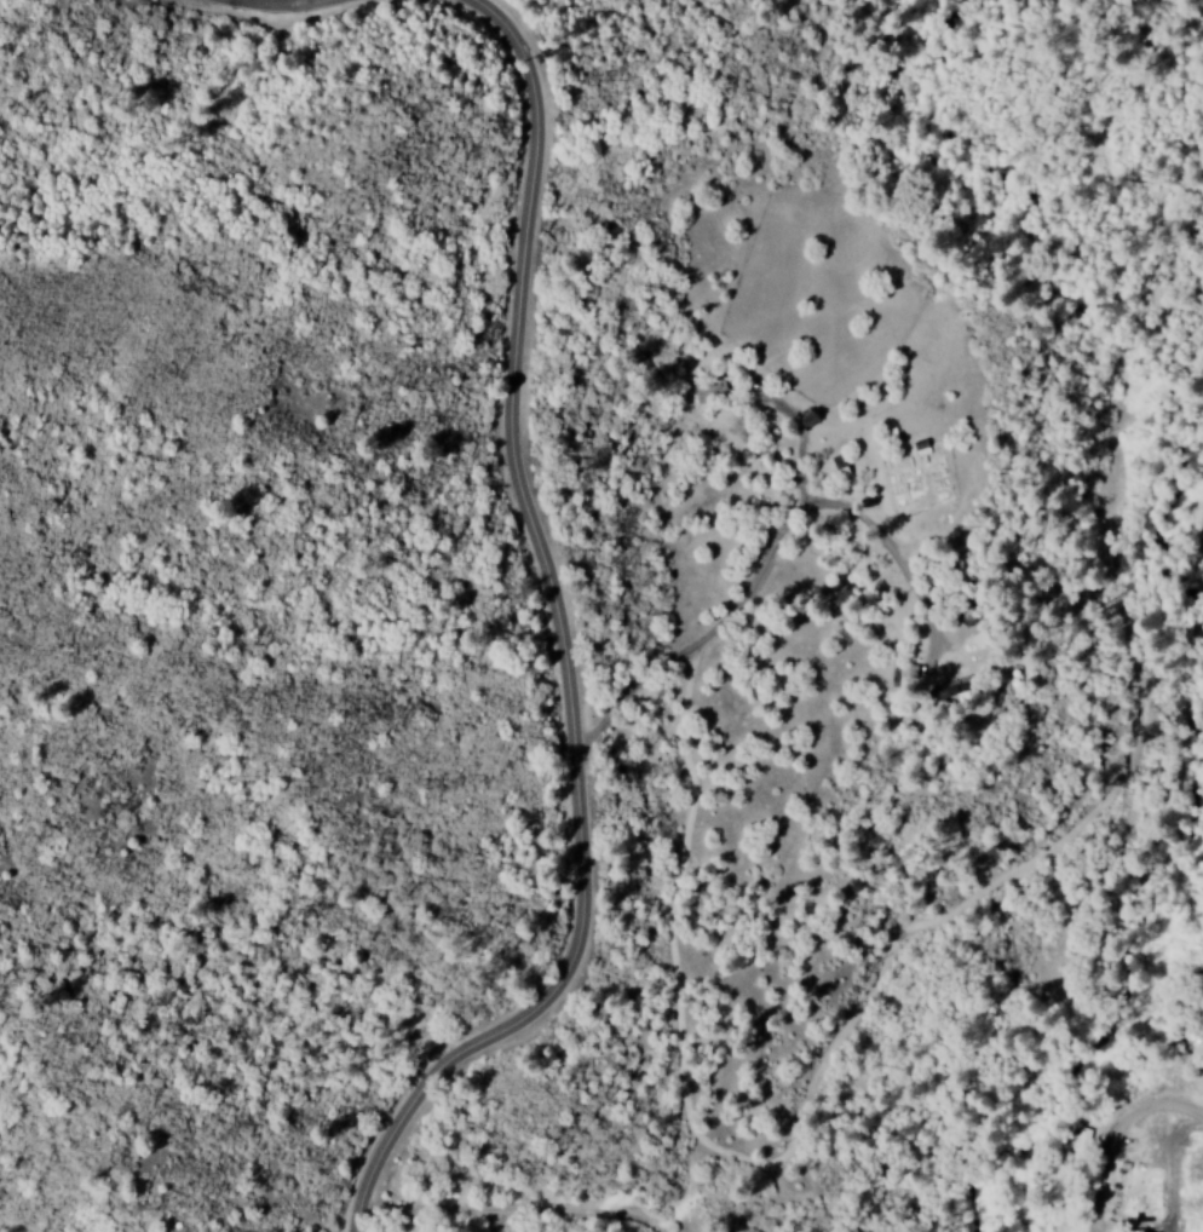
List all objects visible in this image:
road: (271, 2)
road: (557, 631)
road: (631, 691)
building: (956, 691)
road: (644, 935)
building: (1080, 1141)
road: (1101, 1170)
road: (465, 1190)
road: (355, 1219)

